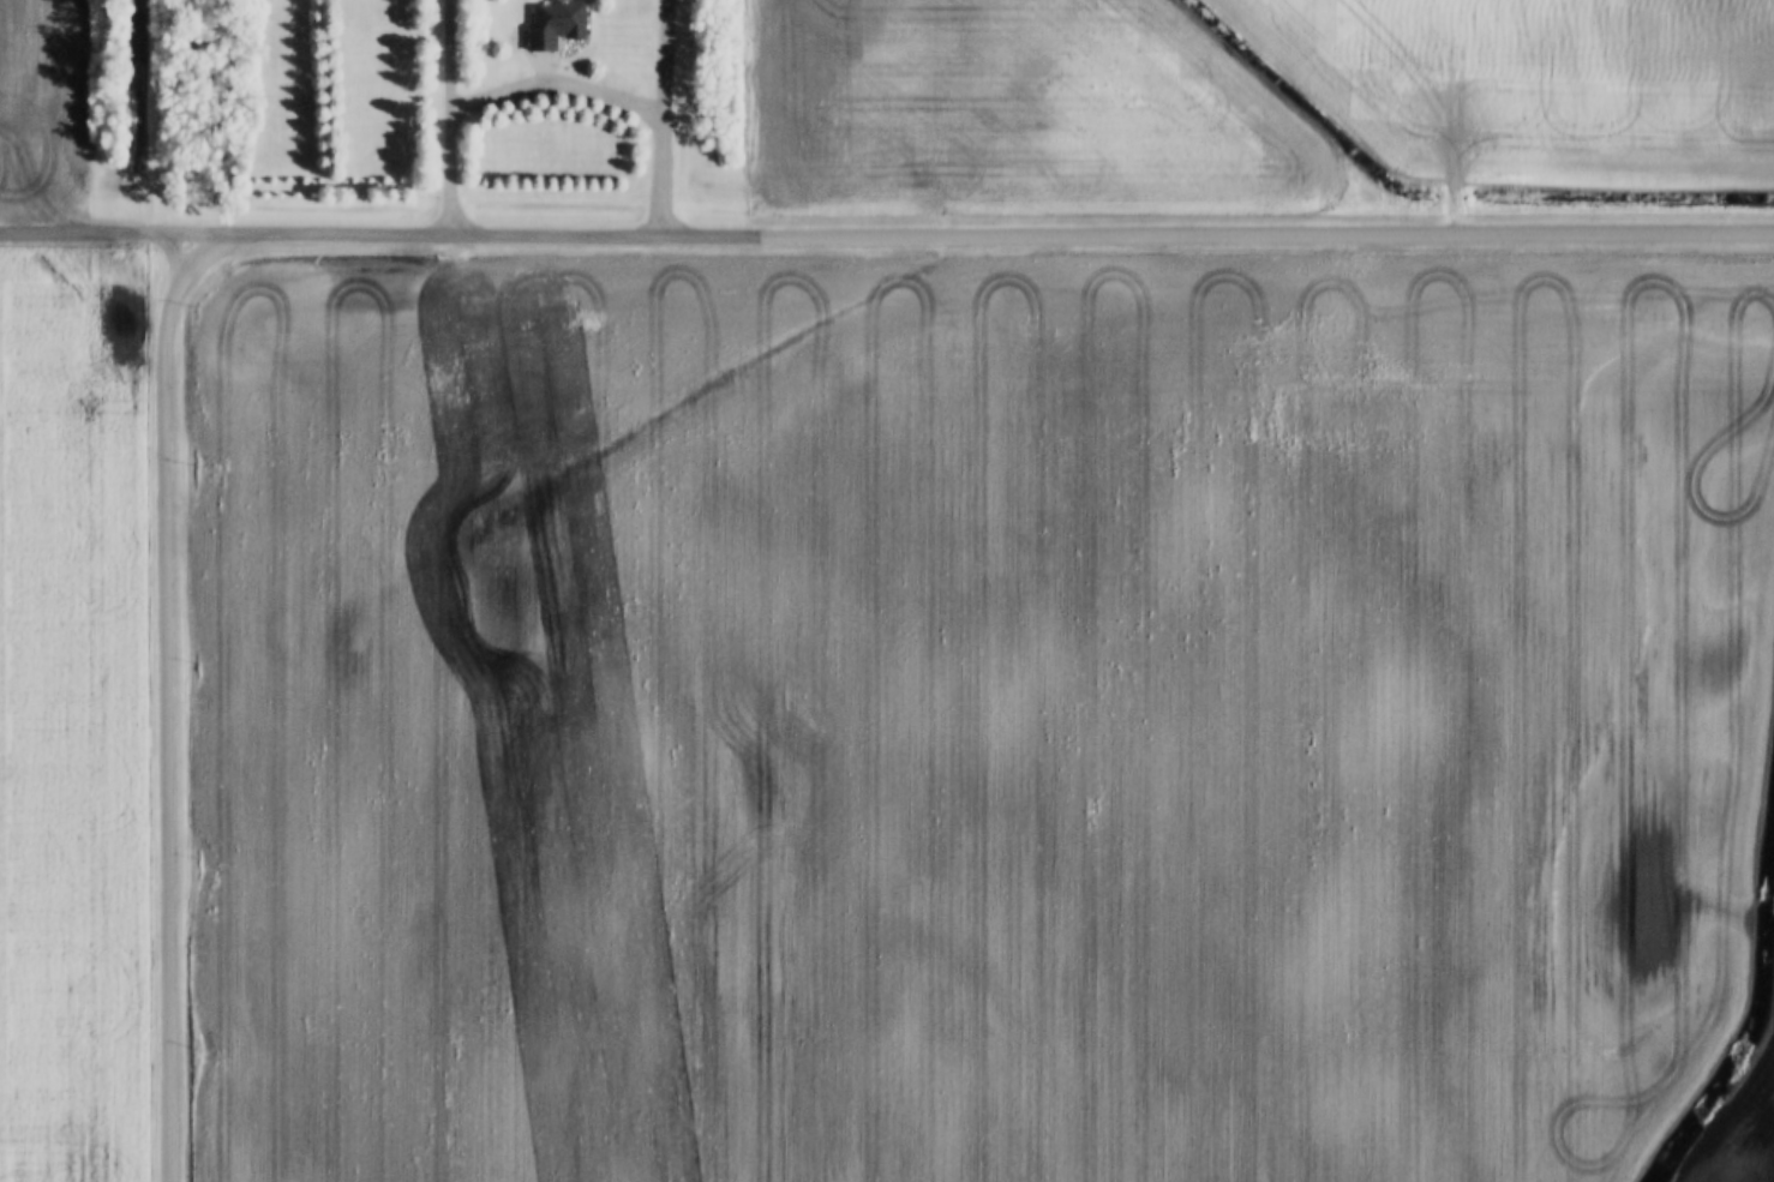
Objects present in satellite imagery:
building: (553, 24)
road: (557, 94)
road: (450, 115)
road: (664, 116)
road: (89, 227)
road: (976, 233)
road: (168, 689)

